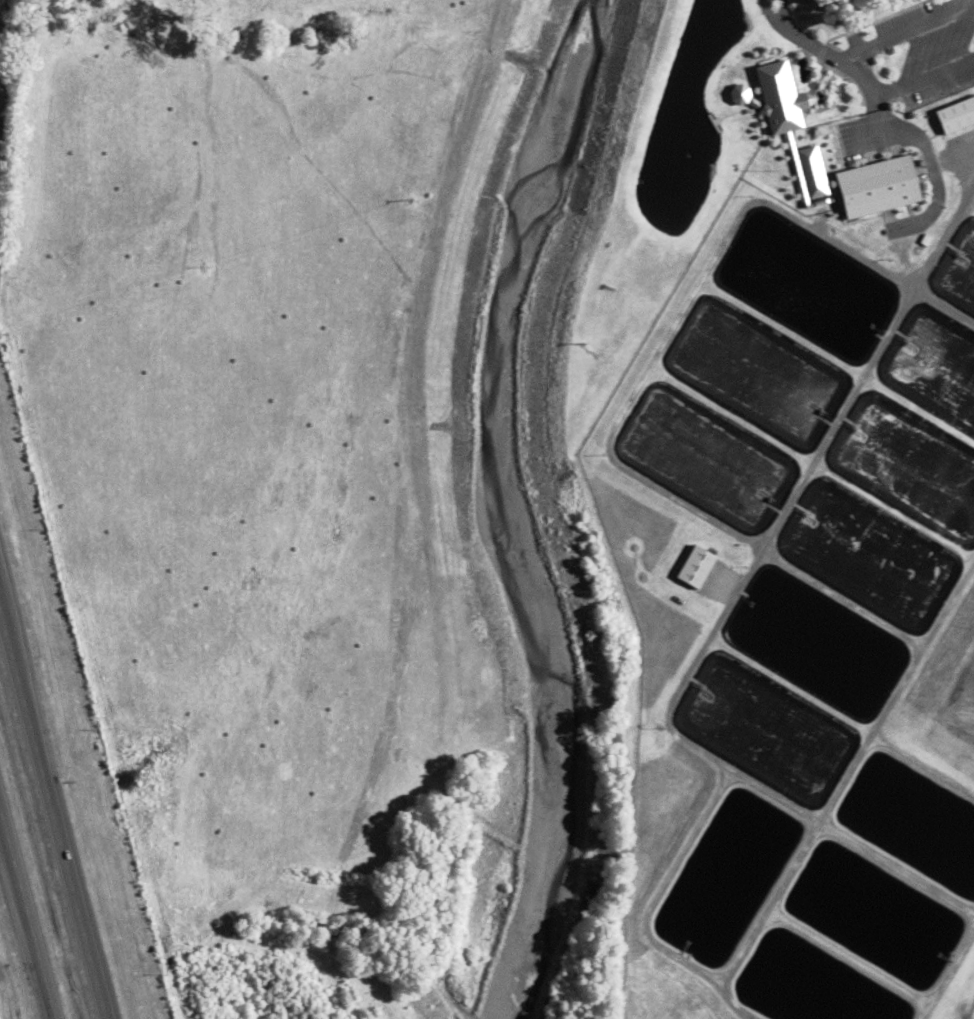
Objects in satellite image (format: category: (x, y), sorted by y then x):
road: (783, 12)
road: (769, 15)
road: (867, 22)
road: (908, 30)
road: (821, 50)
road: (846, 52)
road: (837, 57)
road: (817, 60)
road: (924, 74)
road: (817, 76)
building: (775, 94)
road: (927, 97)
road: (875, 103)
road: (905, 111)
building: (957, 112)
road: (905, 131)
road: (950, 132)
road: (927, 139)
road: (914, 144)
road: (853, 160)
road: (932, 163)
building: (812, 170)
building: (878, 183)
building: (684, 566)
road: (52, 815)
road: (26, 917)

